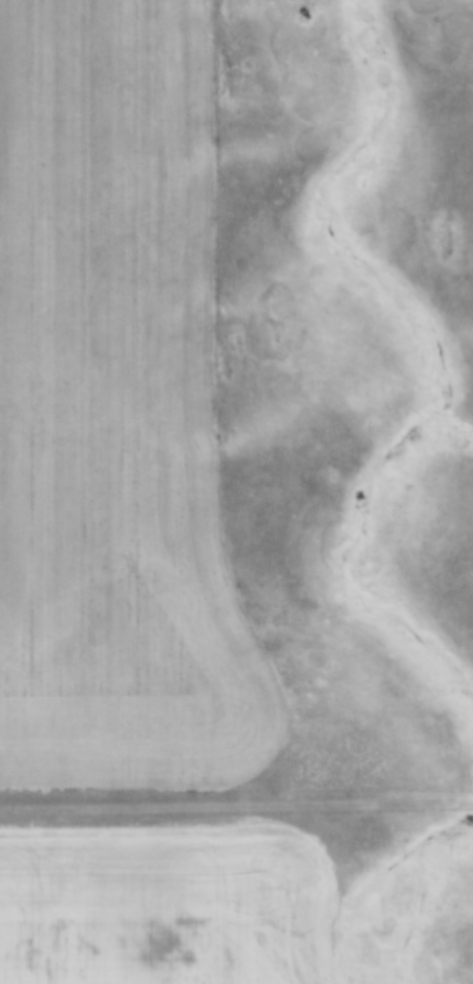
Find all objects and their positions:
road: (236, 817)

